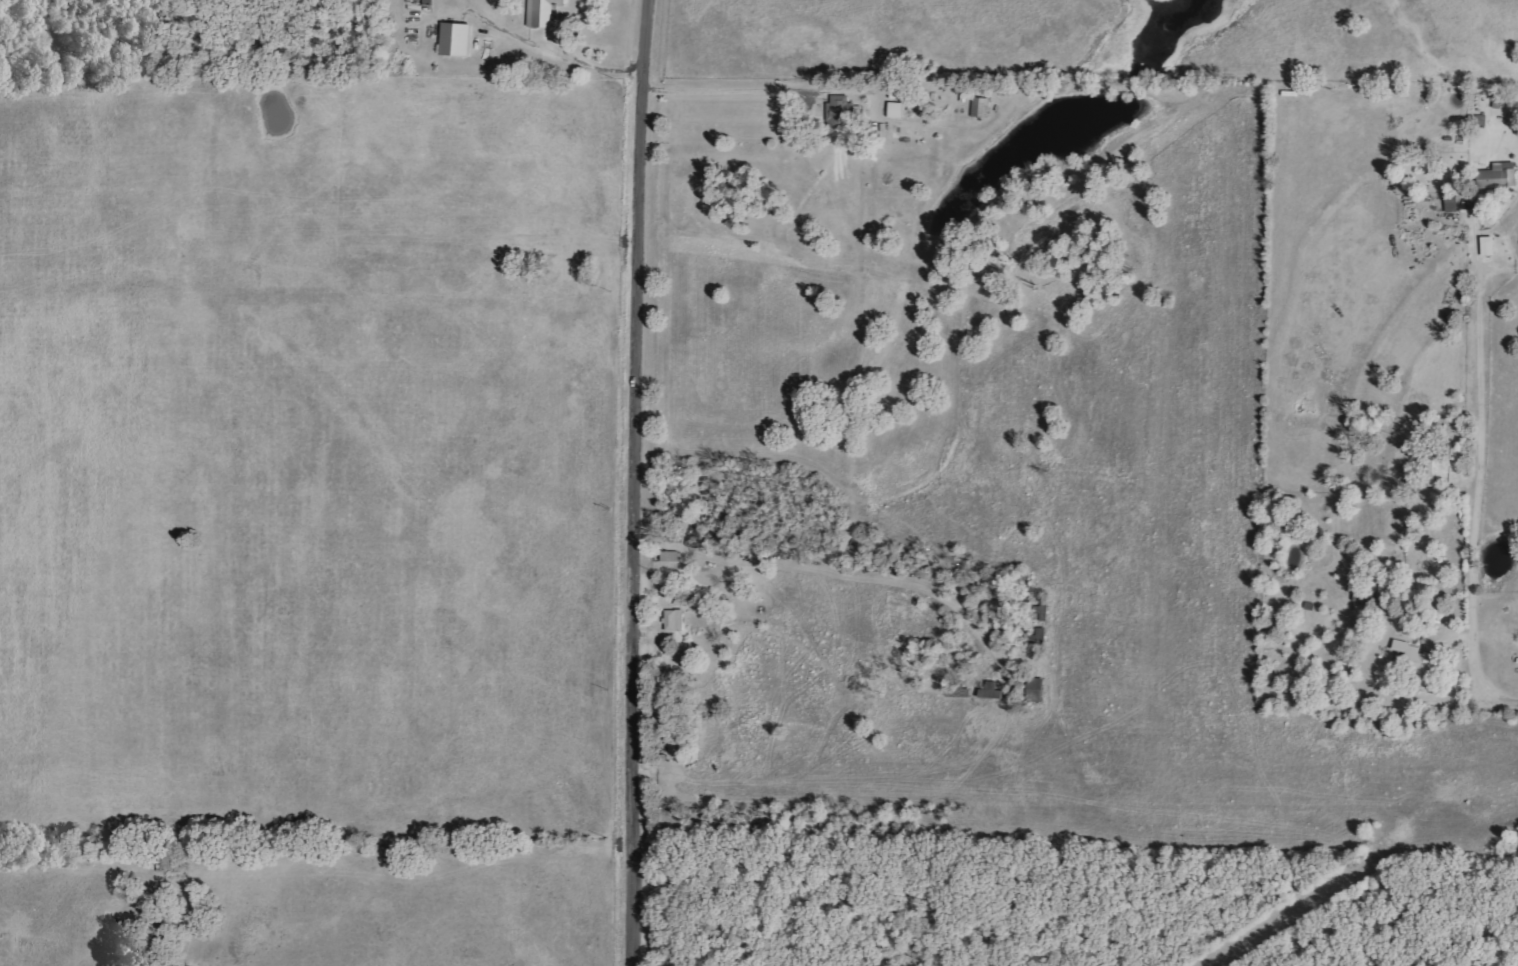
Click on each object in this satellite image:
building: (544, 12)
building: (458, 39)
road: (557, 52)
road: (734, 87)
building: (1499, 100)
building: (898, 110)
building: (843, 114)
building: (1500, 176)
building: (1452, 205)
building: (1490, 246)
building: (1410, 447)
building: (1430, 463)
road: (639, 482)
road: (1479, 497)
building: (672, 556)
building: (676, 620)
building: (1420, 662)
building: (1038, 690)

